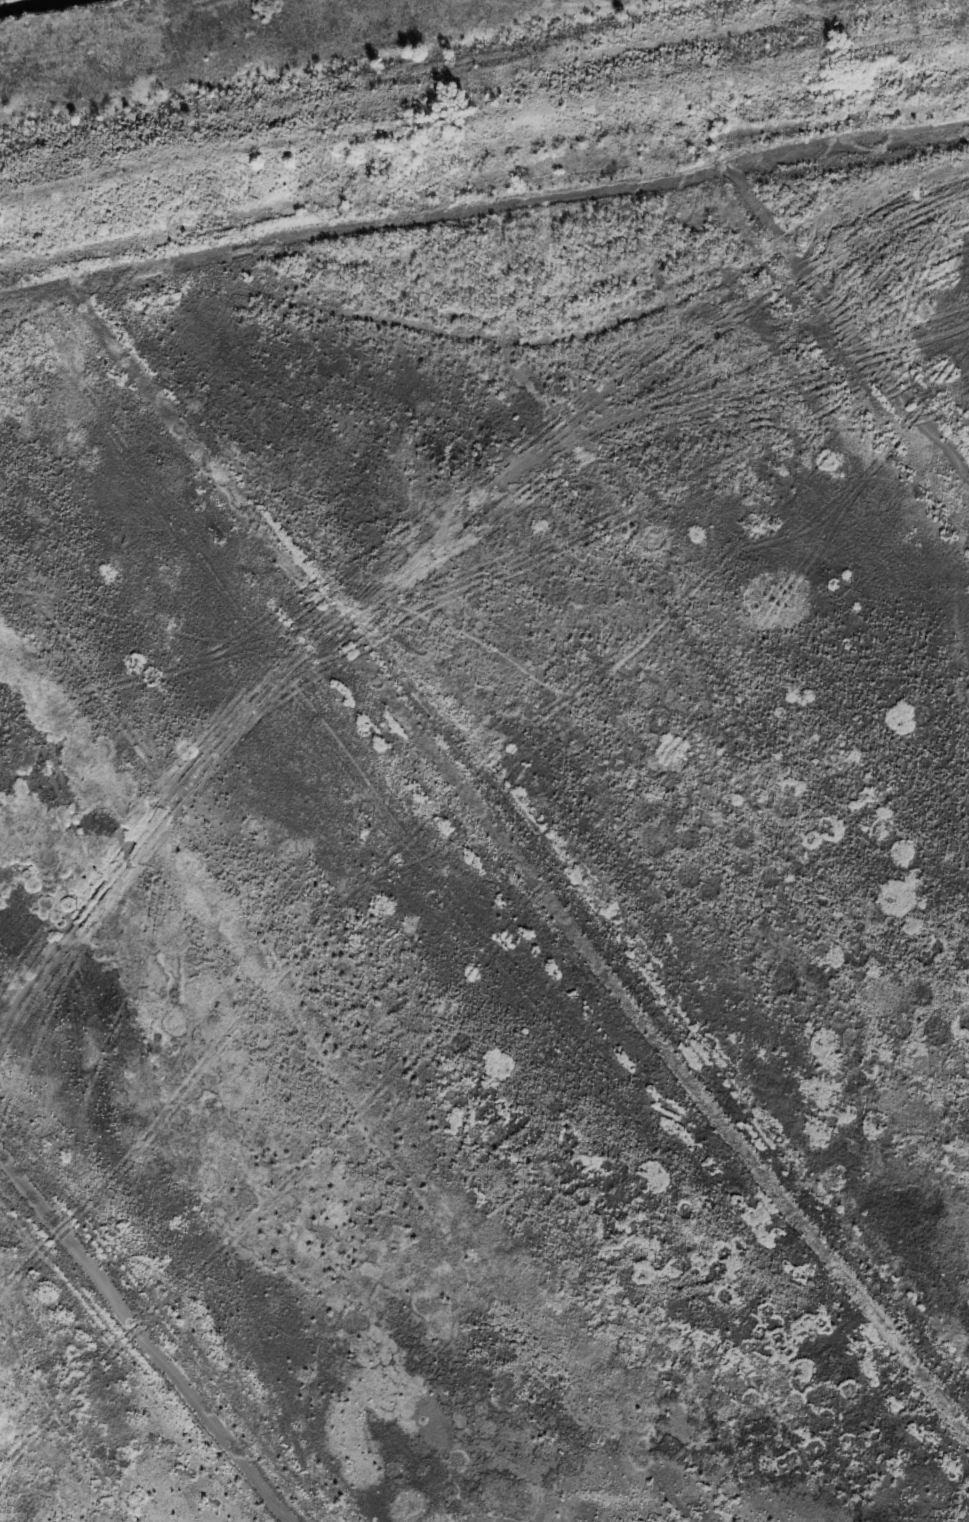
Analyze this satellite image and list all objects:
landfill: (484, 761)

